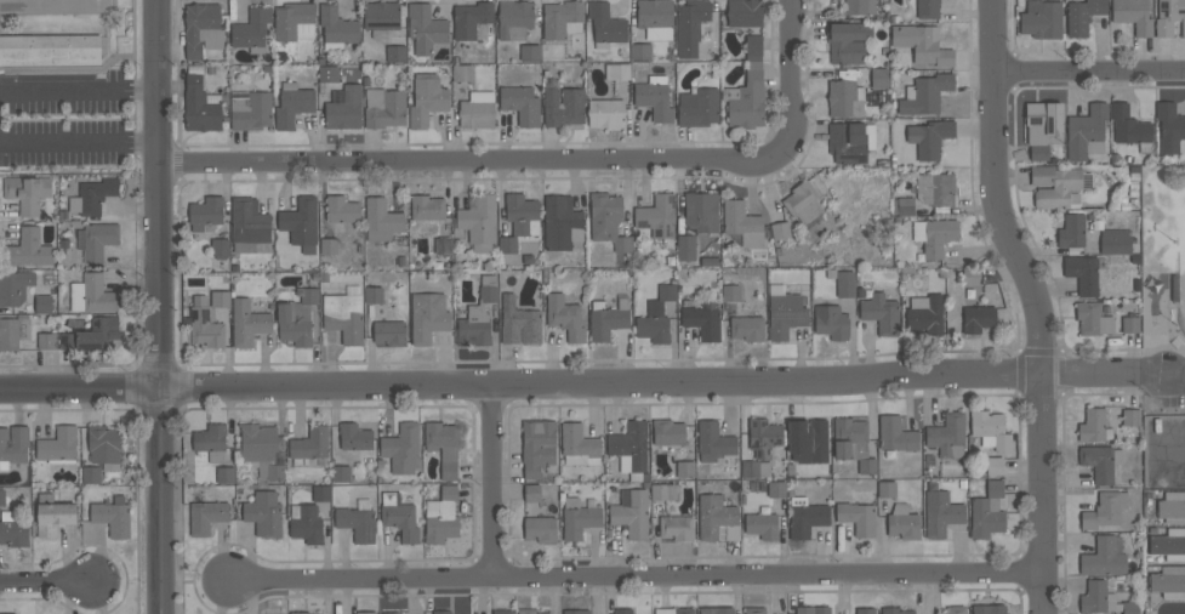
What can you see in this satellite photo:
building: (53, 6)
building: (860, 7)
building: (928, 8)
building: (744, 12)
building: (1133, 15)
building: (1083, 16)
building: (1169, 16)
building: (381, 17)
building: (562, 18)
building: (655, 18)
building: (1042, 18)
building: (471, 19)
building: (514, 19)
building: (295, 22)
building: (605, 25)
building: (690, 25)
building: (201, 28)
building: (337, 28)
building: (426, 29)
building: (251, 30)
building: (847, 42)
building: (922, 44)
building: (753, 47)
building: (50, 50)
building: (640, 51)
building: (530, 52)
building: (395, 53)
building: (617, 72)
road: (1092, 72)
building: (462, 73)
building: (329, 74)
building: (878, 78)
road: (79, 90)
building: (925, 93)
building: (654, 97)
building: (844, 98)
building: (427, 100)
building: (746, 100)
building: (292, 104)
building: (522, 104)
building: (200, 106)
building: (563, 106)
building: (343, 107)
building: (384, 108)
building: (697, 108)
building: (477, 109)
building: (251, 112)
building: (606, 113)
building: (1042, 126)
building: (1169, 127)
building: (1130, 129)
building: (1087, 132)
building: (929, 137)
building: (850, 142)
road: (79, 143)
road: (552, 163)
building: (1055, 187)
building: (936, 188)
road: (999, 192)
building: (27, 193)
building: (92, 195)
building: (803, 201)
building: (902, 206)
building: (427, 207)
building: (342, 210)
building: (701, 211)
building: (206, 214)
building: (657, 216)
building: (519, 220)
building: (608, 220)
building: (381, 221)
building: (301, 222)
building: (479, 222)
building: (562, 222)
building: (742, 223)
building: (247, 224)
building: (780, 229)
building: (1072, 231)
building: (934, 234)
building: (96, 240)
building: (1115, 241)
building: (329, 245)
building: (443, 246)
building: (220, 248)
building: (685, 248)
building: (29, 249)
park: (1178, 266)
building: (1083, 273)
building: (970, 275)
building: (845, 284)
building: (15, 288)
building: (489, 288)
building: (731, 292)
park: (1166, 292)
building: (92, 294)
building: (374, 295)
building: (220, 299)
building: (44, 303)
road: (160, 307)
building: (785, 312)
building: (881, 313)
building: (925, 314)
building: (656, 315)
building: (343, 317)
building: (428, 317)
building: (565, 317)
building: (608, 318)
building: (978, 318)
building: (297, 319)
building: (1093, 319)
building: (702, 320)
building: (831, 322)
building: (247, 323)
building: (519, 323)
building: (1130, 324)
building: (473, 326)
building: (747, 328)
building: (205, 329)
building: (12, 332)
building: (389, 332)
building: (92, 335)
building: (46, 341)
road: (1092, 376)
road: (1163, 376)
road: (522, 383)
building: (1130, 417)
building: (1094, 426)
building: (990, 430)
building: (668, 432)
building: (896, 434)
building: (947, 436)
building: (354, 437)
building: (763, 437)
building: (441, 439)
building: (808, 440)
building: (211, 442)
building: (713, 442)
building: (853, 443)
building: (257, 444)
building: (311, 444)
building: (13, 445)
building: (579, 445)
building: (58, 447)
building: (103, 447)
building: (537, 447)
building: (401, 448)
building: (631, 449)
building: (1100, 462)
building: (995, 466)
building: (685, 468)
building: (754, 468)
building: (449, 471)
building: (275, 472)
building: (341, 473)
building: (91, 474)
building: (226, 474)
road: (491, 481)
building: (776, 489)
building: (887, 489)
building: (665, 491)
building: (321, 493)
building: (532, 493)
road: (1043, 495)
building: (2, 498)
building: (1172, 507)
building: (1105, 510)
building: (987, 511)
building: (264, 513)
building: (631, 513)
building: (941, 513)
building: (206, 516)
building: (441, 516)
building: (55, 517)
building: (399, 517)
building: (805, 517)
building: (856, 517)
building: (112, 518)
building: (577, 518)
building: (717, 519)
building: (306, 523)
building: (357, 523)
building: (902, 523)
building: (762, 525)
building: (677, 528)
building: (12, 529)
building: (540, 529)
building: (1169, 544)
building: (1103, 558)
road: (637, 575)
building: (1169, 581)
road: (49, 584)
building: (1104, 599)
building: (716, 609)
building: (956, 609)
building: (989, 609)
building: (673, 610)
building: (754, 610)
building: (813, 610)
building: (865, 610)
building: (895, 610)
building: (441, 612)
building: (502, 612)
building: (530, 612)
building: (576, 612)
building: (623, 612)
building: (300, 613)
building: (309, 613)
building: (365, 613)
building: (392, 613)

